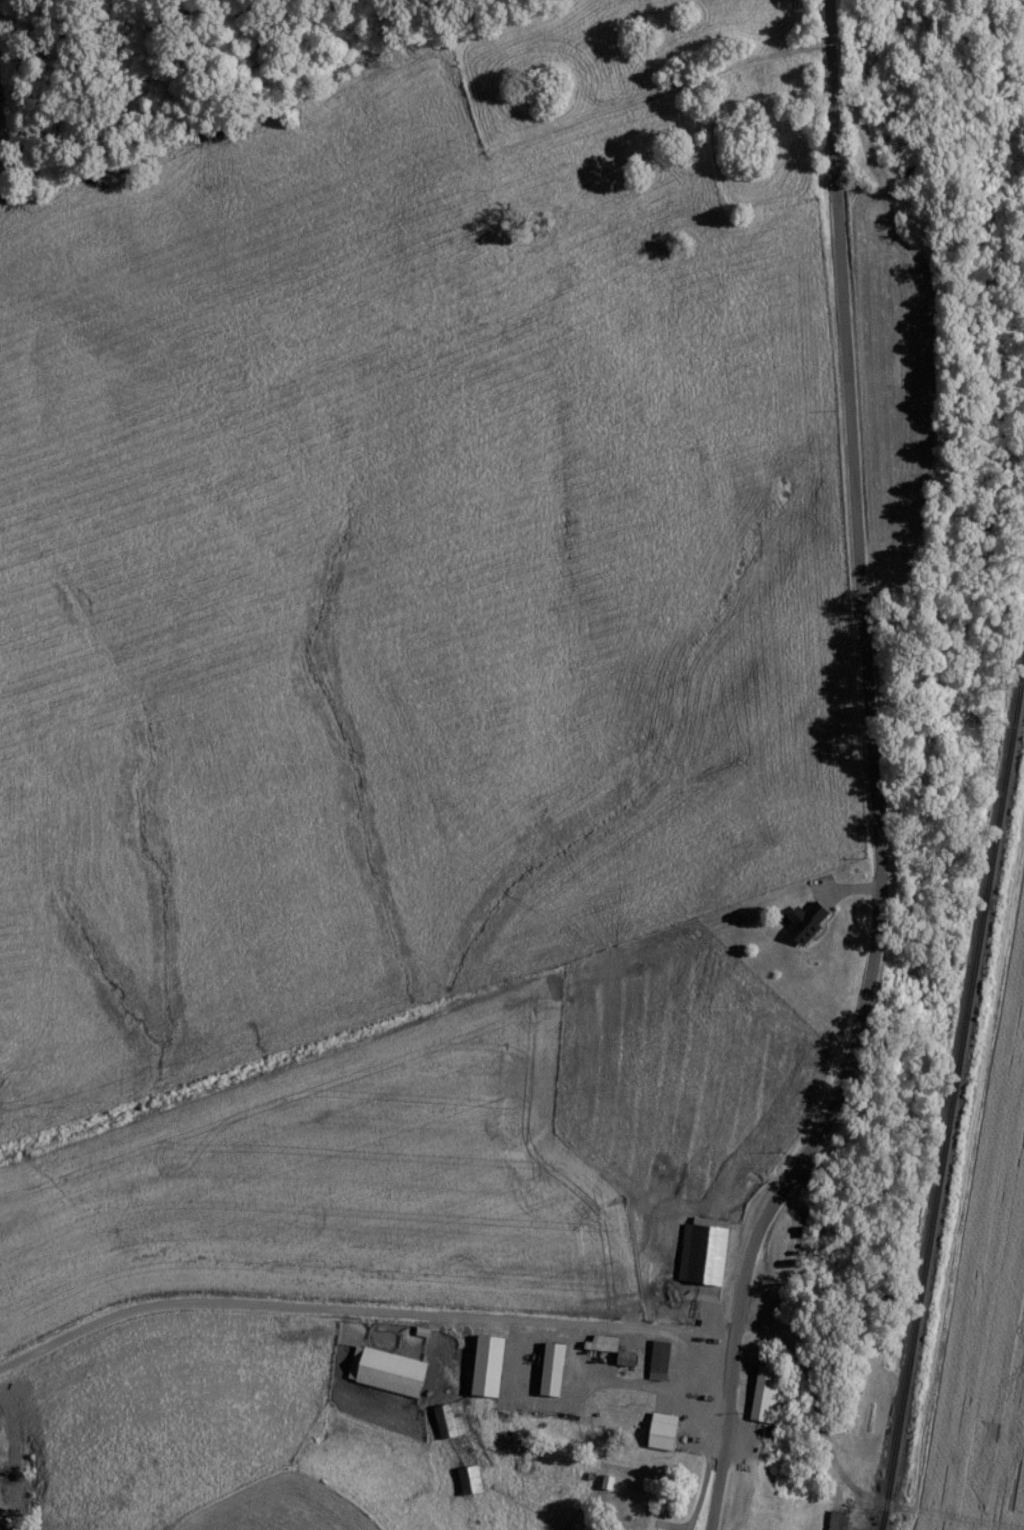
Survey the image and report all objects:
road: (875, 780)
building: (813, 921)
railway: (939, 1035)
building: (709, 1250)
building: (609, 1343)
building: (632, 1357)
building: (665, 1359)
road: (367, 1361)
building: (496, 1365)
building: (559, 1369)
building: (394, 1371)
building: (772, 1395)
building: (454, 1421)
building: (668, 1431)
building: (476, 1480)
building: (845, 1520)

